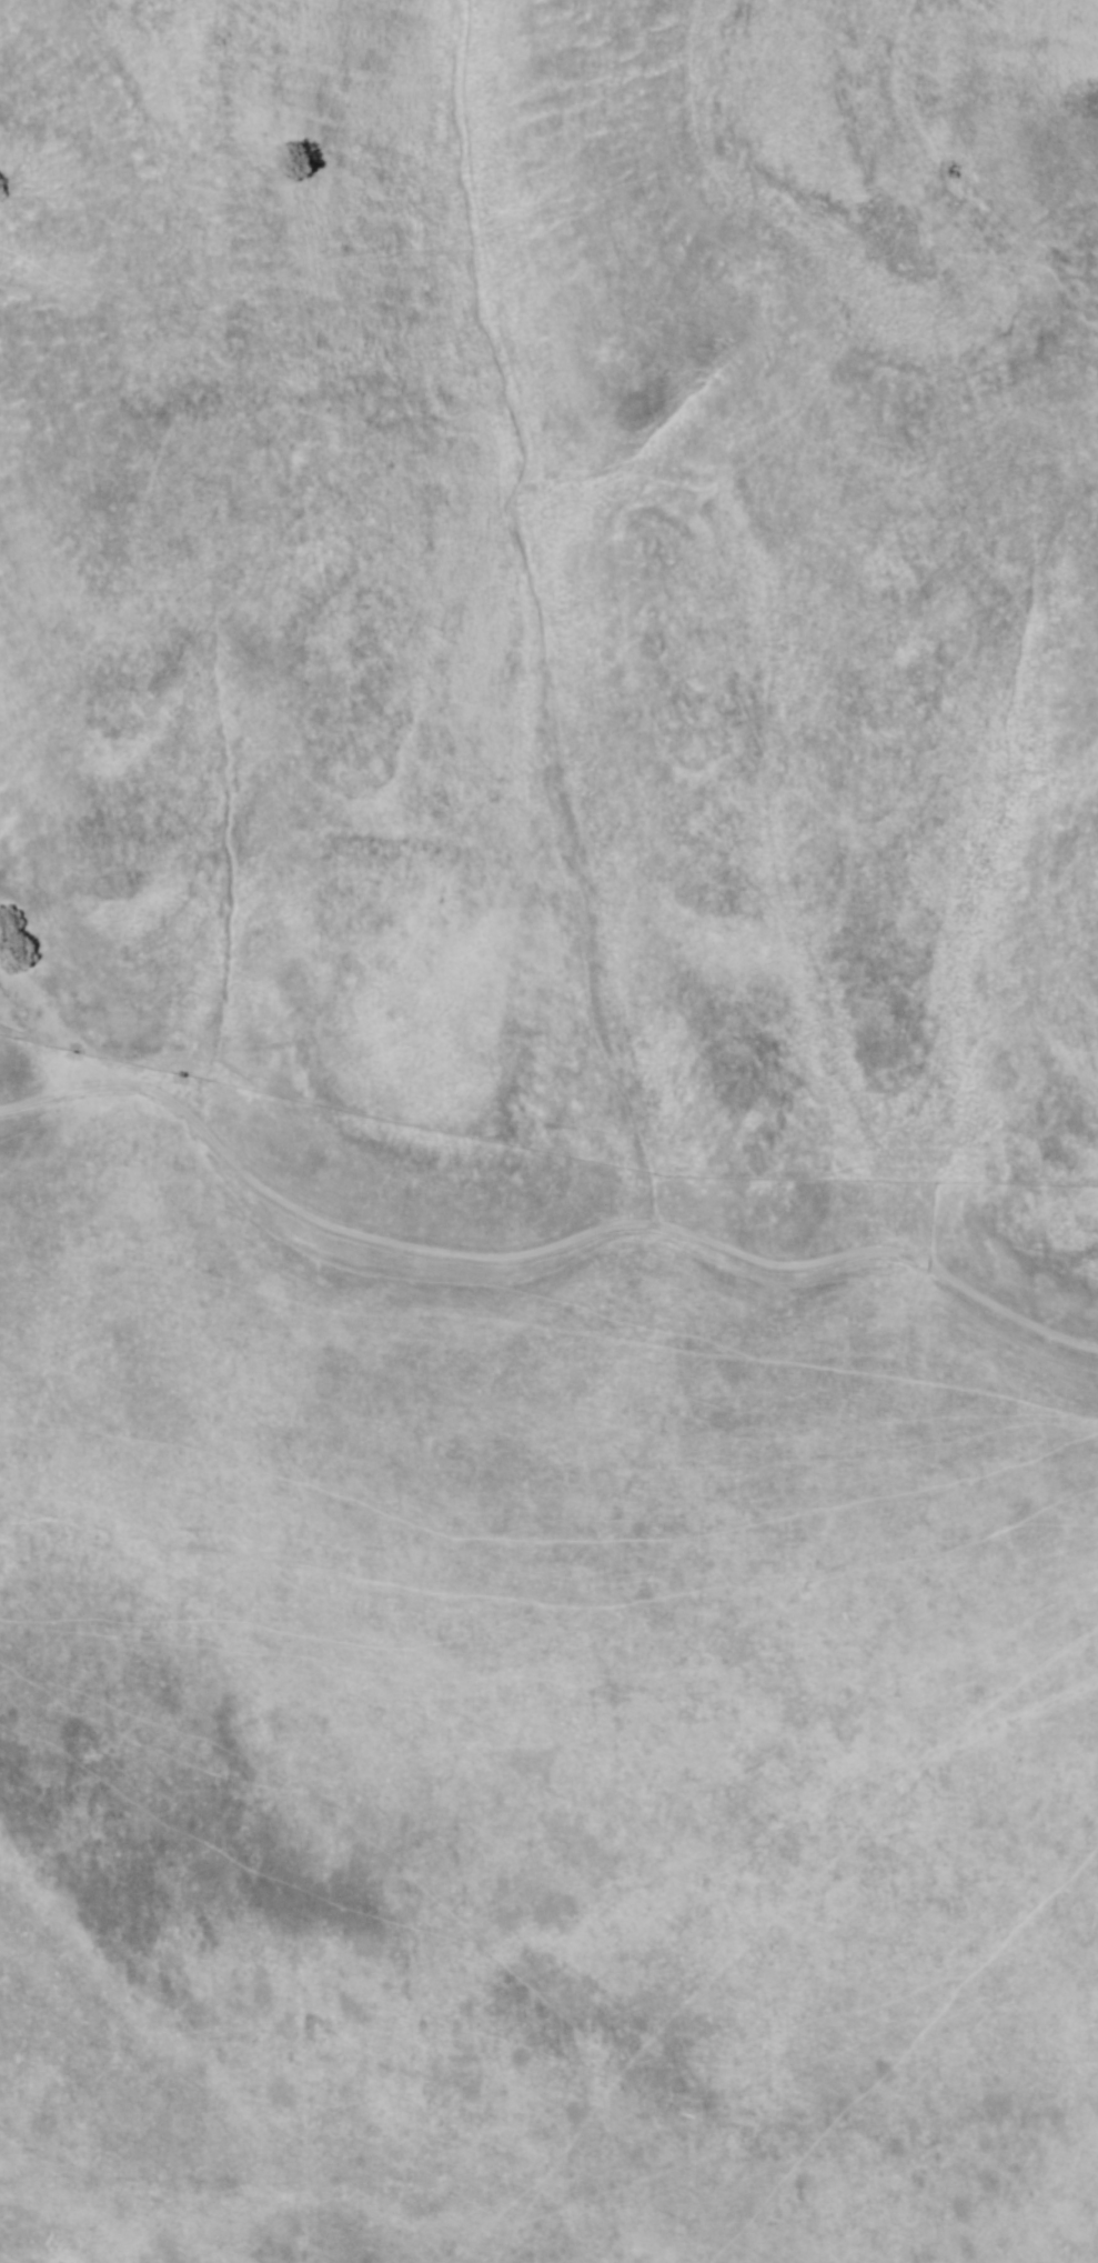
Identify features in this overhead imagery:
road: (544, 1203)

